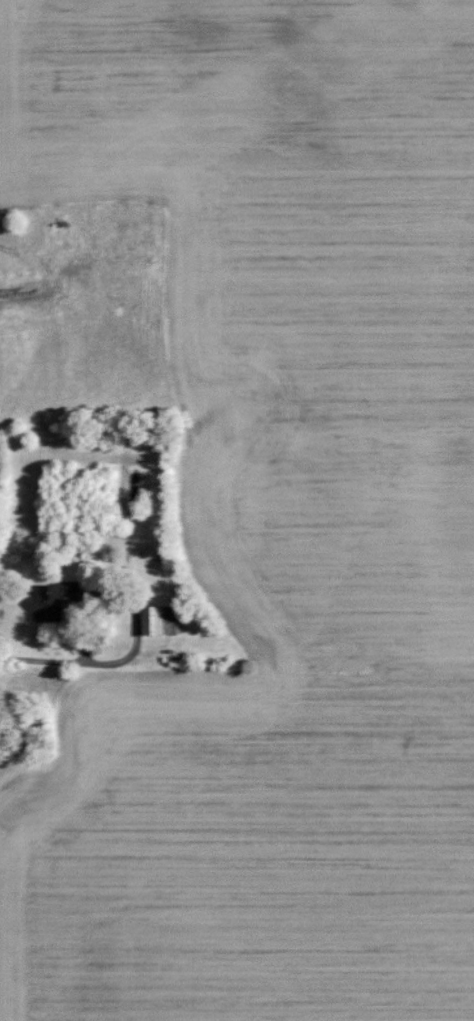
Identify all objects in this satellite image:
building: (70, 585)
building: (50, 604)
road: (117, 661)

